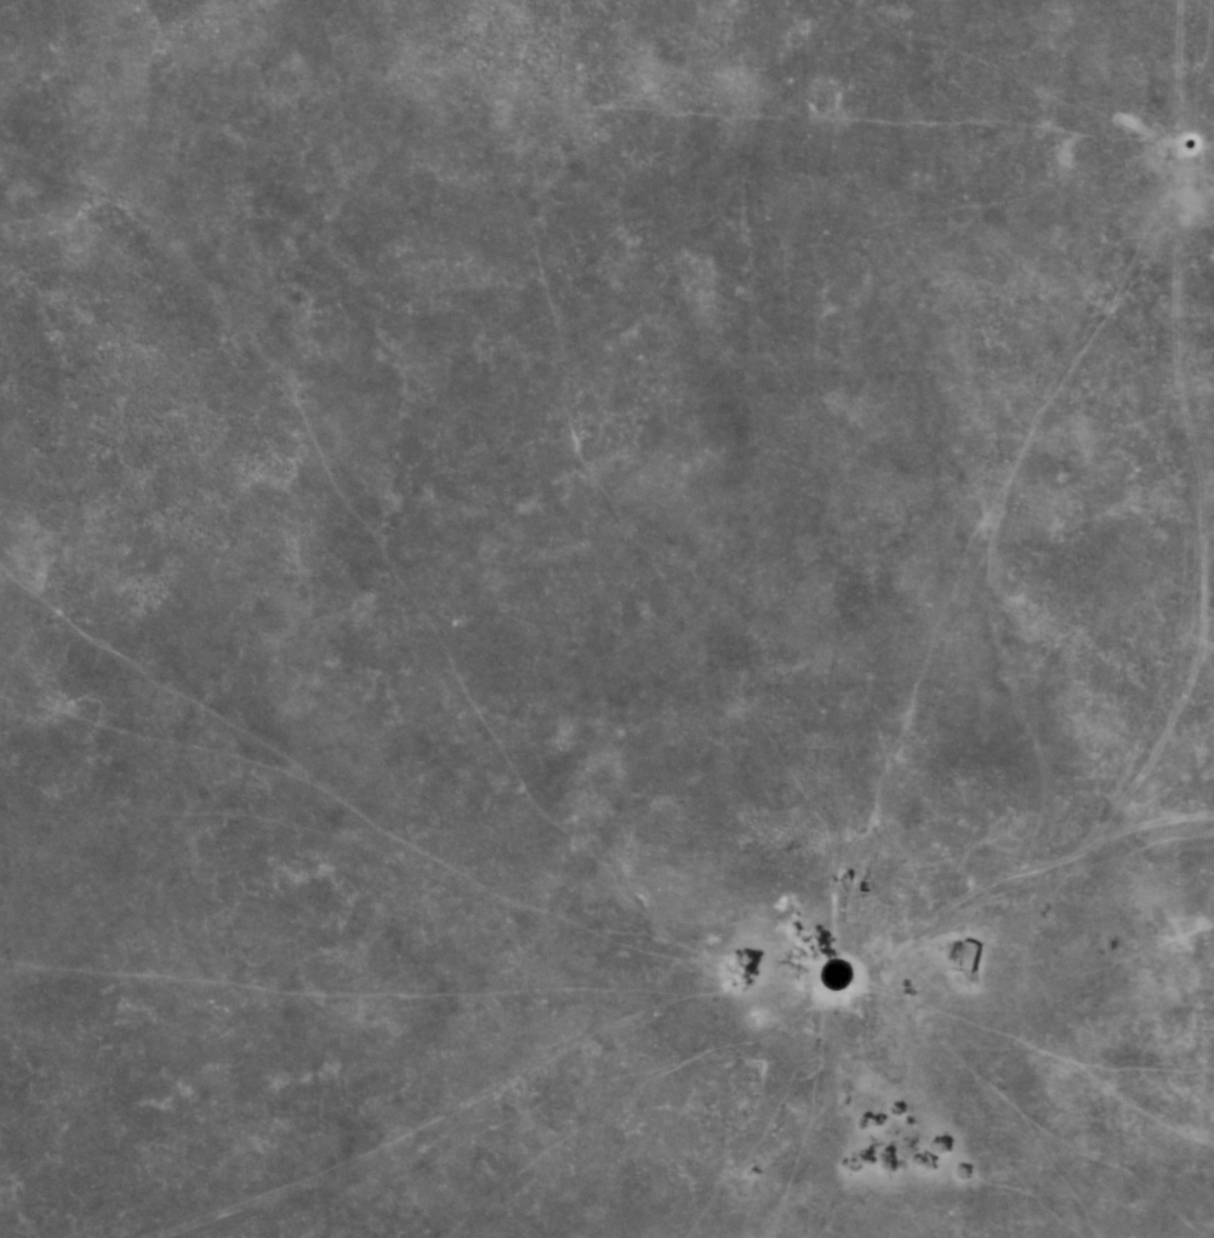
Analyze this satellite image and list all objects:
building: (962, 958)

